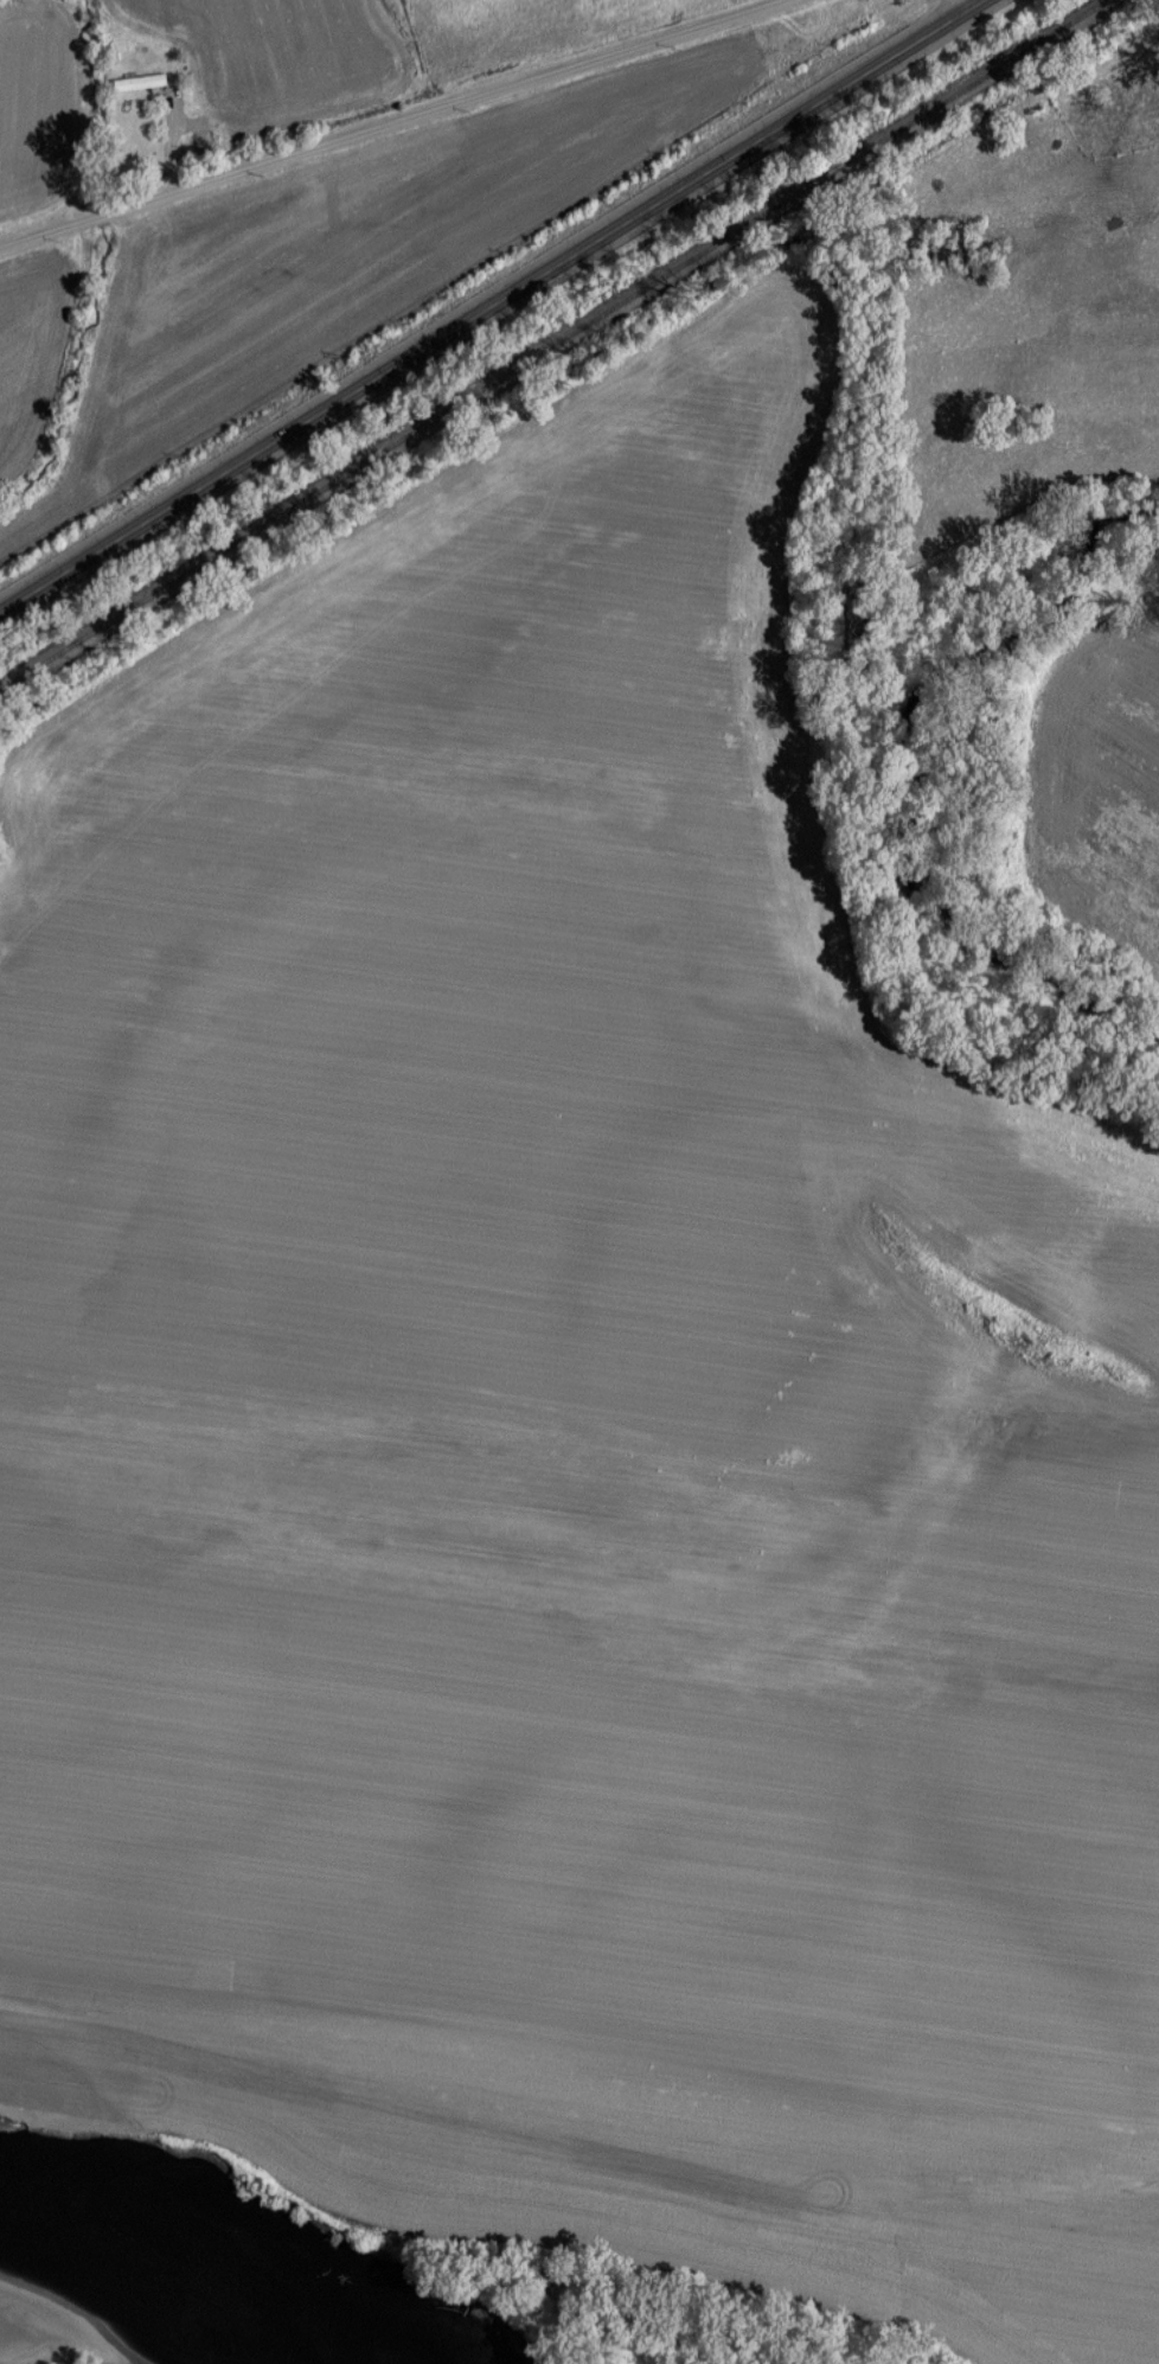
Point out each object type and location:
road: (966, 1)
building: (139, 81)
road: (382, 120)
road: (486, 304)
railway: (553, 345)
river: (168, 2333)

